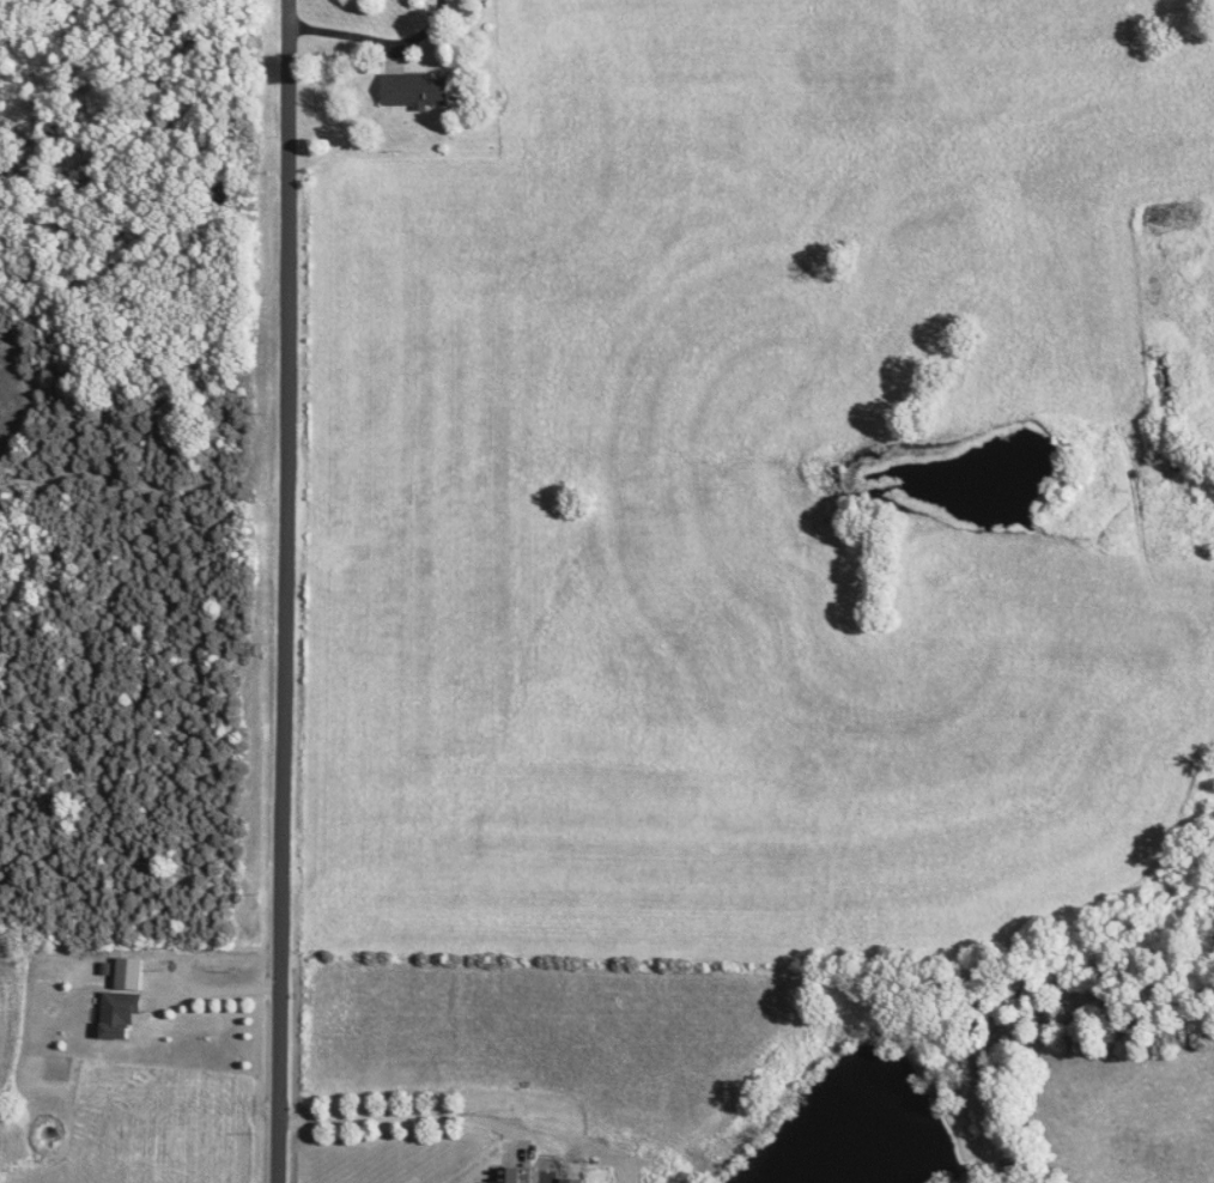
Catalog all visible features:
road: (375, 42)
building: (420, 92)
road: (283, 590)
building: (132, 975)
road: (216, 991)
building: (122, 1015)
road: (420, 1120)
building: (514, 1175)
building: (575, 1181)

